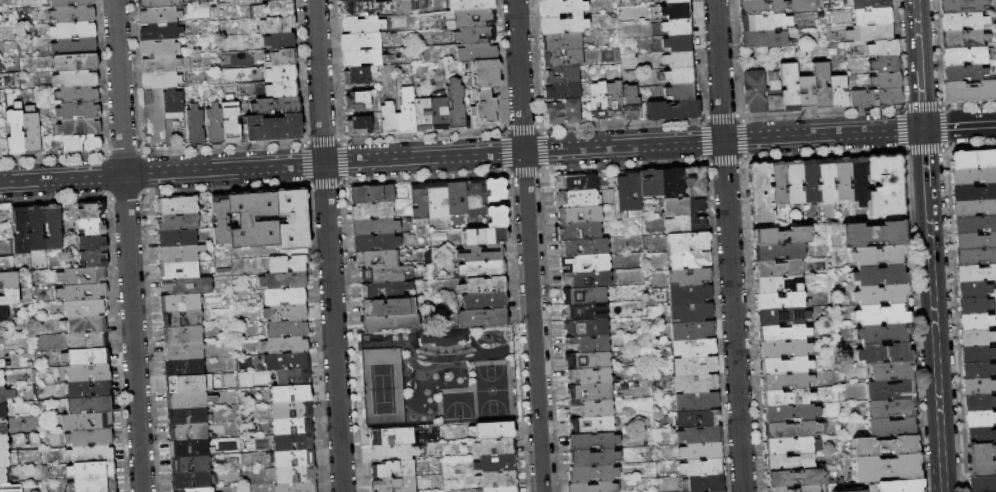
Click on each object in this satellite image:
building: (279, 0)
building: (348, 0)
building: (547, 0)
building: (740, 0)
building: (677, 1)
building: (70, 3)
building: (161, 3)
building: (423, 4)
building: (821, 4)
building: (867, 4)
building: (472, 5)
building: (413, 6)
building: (961, 6)
building: (762, 7)
building: (362, 8)
building: (562, 8)
building: (273, 10)
building: (672, 12)
building: (72, 14)
building: (160, 16)
building: (873, 16)
building: (470, 19)
building: (962, 21)
building: (765, 23)
building: (277, 25)
building: (361, 25)
building: (563, 25)
building: (676, 27)
building: (74, 30)
building: (161, 32)
building: (870, 33)
road: (917, 34)
building: (476, 36)
building: (963, 39)
building: (766, 40)
building: (280, 41)
building: (562, 41)
building: (360, 42)
building: (678, 43)
building: (75, 46)
building: (159, 47)
building: (884, 48)
building: (832, 52)
building: (478, 53)
building: (965, 56)
building: (280, 57)
building: (361, 58)
building: (563, 58)
building: (680, 60)
building: (75, 62)
building: (165, 64)
building: (885, 64)
building: (467, 67)
building: (963, 72)
building: (280, 74)
building: (488, 74)
building: (680, 75)
building: (357, 76)
building: (562, 76)
building: (76, 80)
building: (161, 80)
building: (886, 81)
building: (821, 84)
building: (790, 88)
building: (282, 90)
building: (681, 91)
building: (755, 91)
building: (839, 91)
building: (969, 91)
building: (563, 92)
building: (806, 93)
building: (774, 94)
building: (77, 95)
building: (875, 98)
road: (921, 98)
building: (360, 100)
building: (615, 100)
building: (598, 101)
building: (173, 102)
building: (631, 103)
building: (456, 105)
building: (276, 106)
road: (922, 106)
building: (485, 107)
building: (78, 111)
building: (673, 111)
building: (564, 112)
building: (407, 114)
building: (439, 114)
building: (423, 115)
building: (388, 119)
building: (231, 121)
building: (196, 125)
building: (215, 125)
building: (359, 125)
road: (946, 127)
road: (959, 127)
building: (79, 128)
building: (273, 128)
road: (900, 129)
traffic signals: (923, 129)
building: (15, 133)
building: (32, 133)
building: (82, 144)
road: (926, 150)
road: (829, 154)
road: (461, 155)
road: (924, 159)
building: (973, 159)
road: (727, 160)
road: (630, 164)
road: (526, 171)
building: (972, 175)
road: (432, 176)
building: (843, 179)
building: (826, 180)
building: (695, 181)
building: (810, 181)
building: (859, 181)
building: (576, 182)
building: (672, 182)
building: (794, 182)
building: (650, 183)
building: (778, 183)
building: (886, 188)
building: (495, 190)
building: (629, 191)
building: (973, 192)
building: (759, 193)
building: (372, 194)
building: (457, 199)
building: (476, 199)
building: (577, 199)
building: (437, 200)
building: (420, 201)
building: (178, 205)
building: (684, 207)
building: (974, 208)
building: (92, 211)
building: (372, 211)
building: (580, 215)
building: (497, 217)
building: (246, 219)
building: (220, 220)
building: (178, 222)
building: (293, 222)
building: (686, 224)
building: (974, 224)
building: (375, 226)
building: (92, 227)
building: (36, 228)
building: (52, 228)
building: (21, 231)
building: (580, 231)
building: (874, 235)
building: (781, 236)
building: (484, 237)
building: (177, 238)
building: (975, 241)
building: (688, 242)
building: (93, 243)
building: (376, 243)
road: (329, 245)
road: (729, 245)
road: (128, 246)
road: (529, 246)
building: (584, 247)
building: (779, 252)
building: (179, 253)
building: (481, 253)
building: (975, 256)
building: (879, 257)
building: (388, 259)
building: (690, 259)
building: (94, 260)
building: (586, 263)
building: (288, 264)
building: (777, 268)
building: (483, 269)
building: (179, 270)
building: (975, 273)
building: (385, 274)
building: (880, 276)
building: (82, 277)
building: (689, 277)
building: (587, 279)
building: (9, 280)
building: (284, 280)
building: (779, 284)
building: (187, 286)
building: (484, 286)
building: (973, 289)
building: (385, 291)
building: (82, 293)
building: (585, 295)
building: (689, 295)
building: (881, 295)
building: (10, 297)
building: (284, 297)
building: (485, 301)
building: (779, 301)
building: (180, 303)
building: (974, 304)
building: (388, 307)
building: (85, 309)
building: (585, 312)
building: (286, 313)
building: (692, 313)
building: (3, 314)
building: (884, 314)
building: (782, 317)
building: (483, 318)
building: (182, 319)
building: (975, 321)
building: (390, 323)
building: (84, 325)
building: (587, 328)
building: (287, 329)
building: (692, 331)
building: (883, 333)
building: (783, 334)
building: (182, 335)
building: (442, 336)
building: (976, 337)
road: (935, 340)
building: (88, 341)
building: (589, 344)
building: (285, 346)
building: (693, 348)
building: (784, 349)
road: (408, 350)
building: (184, 351)
road: (489, 352)
building: (977, 353)
building: (884, 354)
building: (86, 357)
building: (589, 360)
building: (286, 361)
building: (695, 366)
building: (785, 366)
building: (184, 367)
building: (977, 370)
building: (892, 371)
building: (88, 373)
building: (293, 377)
park: (439, 377)
building: (590, 377)
building: (2, 379)
building: (786, 381)
building: (185, 382)
building: (696, 383)
building: (978, 386)
park: (382, 387)
building: (89, 389)
park: (494, 389)
building: (849, 391)
building: (890, 391)
building: (593, 393)
building: (6, 394)
building: (291, 394)
building: (787, 398)
building: (189, 399)
building: (697, 400)
building: (978, 402)
building: (89, 405)
park: (458, 405)
building: (592, 409)
building: (891, 409)
building: (3, 410)
building: (291, 410)
building: (792, 414)
building: (187, 416)
building: (697, 418)
building: (979, 418)
building: (87, 422)
building: (592, 425)
building: (292, 426)
building: (3, 427)
building: (891, 428)
building: (794, 430)
building: (493, 431)
building: (188, 432)
building: (980, 434)
building: (699, 435)
building: (396, 436)
building: (90, 438)
building: (592, 441)
building: (4, 443)
building: (293, 443)
building: (791, 446)
building: (496, 447)
building: (885, 447)
building: (190, 448)
building: (701, 450)
building: (394, 453)
building: (89, 454)
building: (293, 458)
building: (593, 458)
building: (981, 459)
building: (4, 460)
building: (496, 463)
building: (790, 463)
building: (191, 464)
building: (702, 467)
building: (394, 469)
building: (887, 469)
building: (91, 470)
building: (593, 474)
building: (296, 475)
building: (3, 476)
building: (499, 478)
building: (795, 478)
building: (191, 481)
building: (704, 483)
building: (982, 484)
building: (93, 485)
building: (395, 485)
building: (899, 486)
building: (297, 487)
building: (593, 487)
building: (10, 488)
building: (810, 489)
building: (198, 490)
building: (499, 490)
building: (779, 490)
building: (719, 491)
building: (859, 491)
building: (991, 491)

